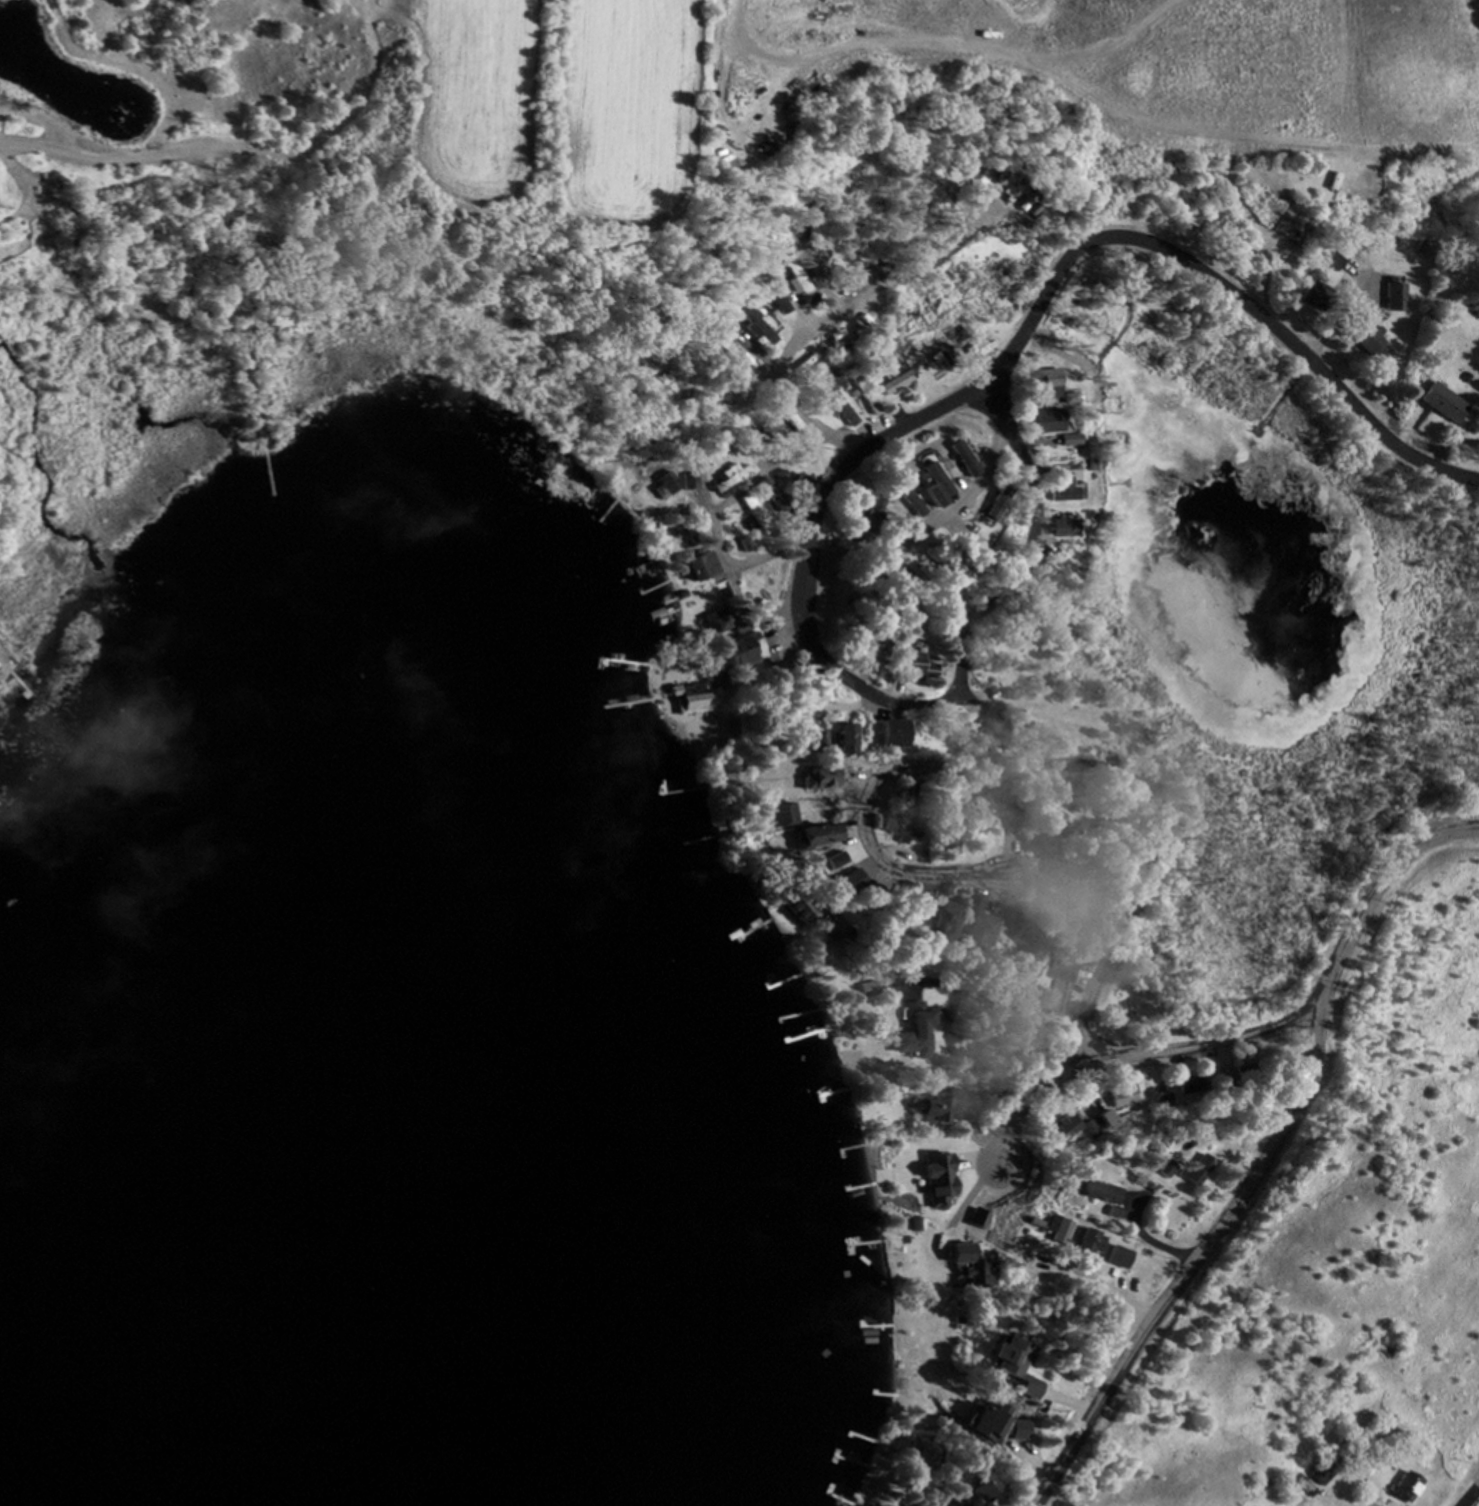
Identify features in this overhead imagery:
road: (1108, 48)
road: (1131, 118)
building: (981, 186)
building: (1339, 262)
building: (801, 281)
road: (880, 283)
road: (1223, 286)
building: (776, 296)
building: (1398, 297)
building: (754, 326)
building: (1366, 338)
building: (731, 354)
building: (943, 363)
building: (896, 384)
building: (1048, 385)
building: (867, 402)
building: (1445, 405)
building: (841, 410)
road: (806, 420)
building: (1049, 423)
road: (883, 441)
building: (960, 461)
building: (728, 481)
building: (798, 485)
building: (931, 485)
building: (671, 487)
building: (1064, 492)
building: (905, 502)
building: (757, 516)
building: (1064, 529)
road: (933, 530)
building: (684, 534)
road: (807, 539)
road: (722, 548)
building: (701, 568)
building: (719, 622)
building: (736, 655)
road: (961, 657)
building: (912, 667)
building: (702, 692)
road: (985, 706)
road: (845, 713)
building: (987, 732)
building: (884, 736)
building: (835, 740)
building: (804, 743)
road: (1029, 765)
building: (813, 782)
building: (967, 815)
building: (773, 818)
building: (889, 831)
building: (1032, 835)
building: (807, 839)
building: (1034, 907)
building: (800, 909)
building: (903, 918)
building: (934, 925)
building: (967, 928)
building: (1059, 983)
building: (916, 1034)
road: (1191, 1051)
building: (1228, 1067)
building: (1120, 1104)
building: (943, 1110)
building: (1068, 1128)
building: (1197, 1171)
building: (1103, 1197)
building: (1091, 1244)
building: (1120, 1258)
road: (1194, 1264)
road: (1099, 1284)
building: (1010, 1366)
building: (998, 1428)
building: (1321, 1471)
building: (1302, 1487)
building: (1406, 1489)
building: (982, 1491)
road: (1471, 1497)

